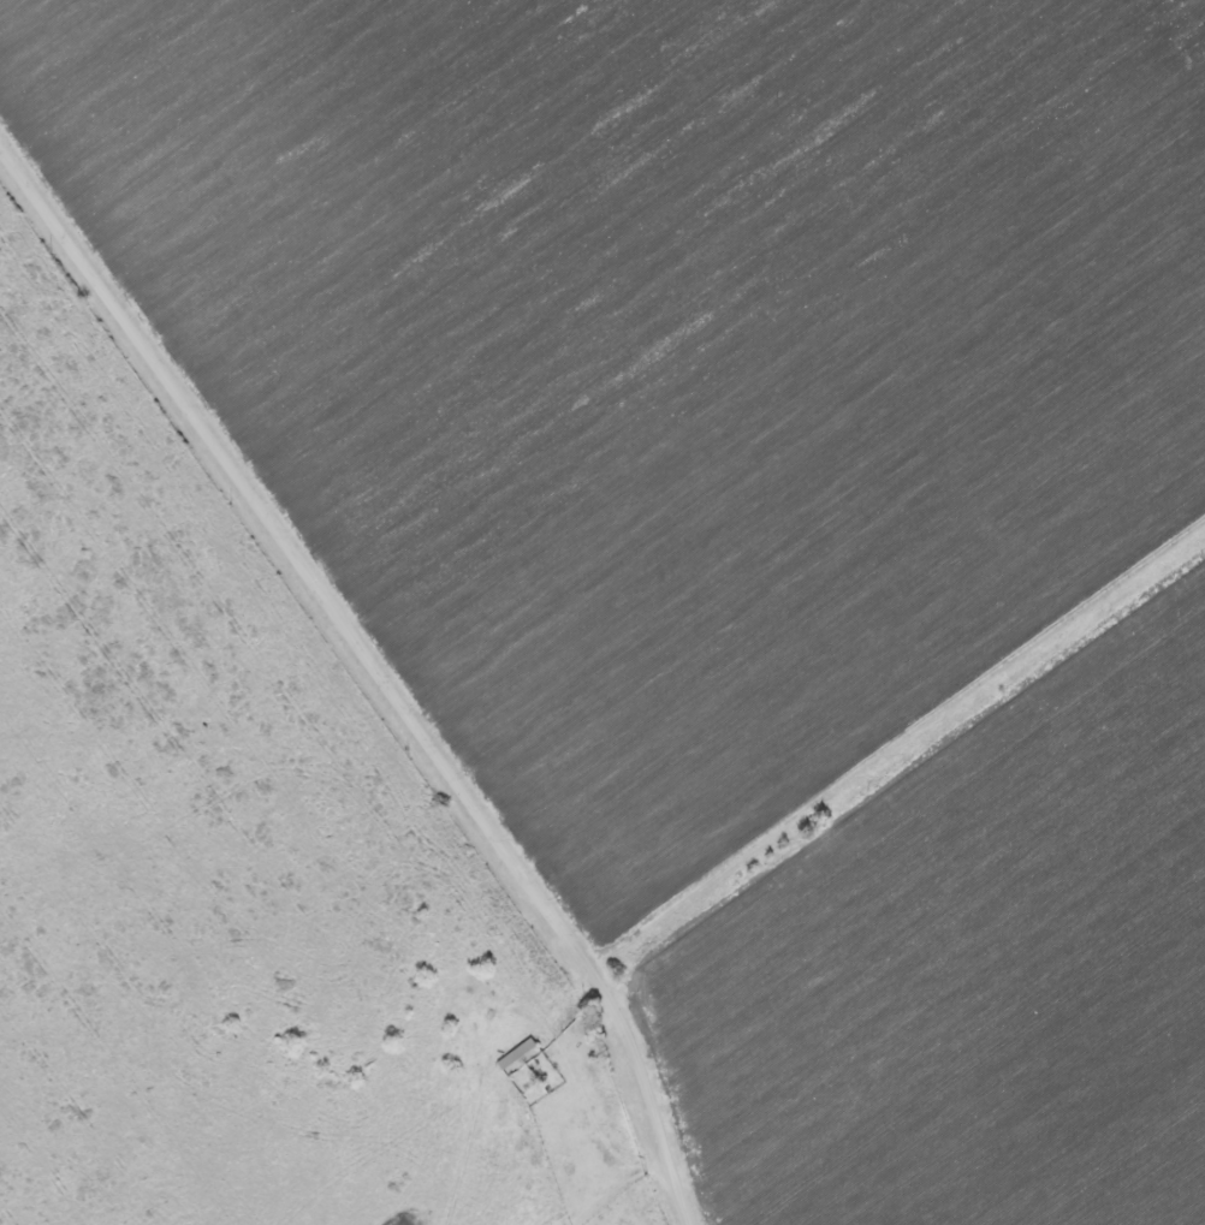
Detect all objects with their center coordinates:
road: (196, 416)
road: (896, 742)
road: (574, 942)

